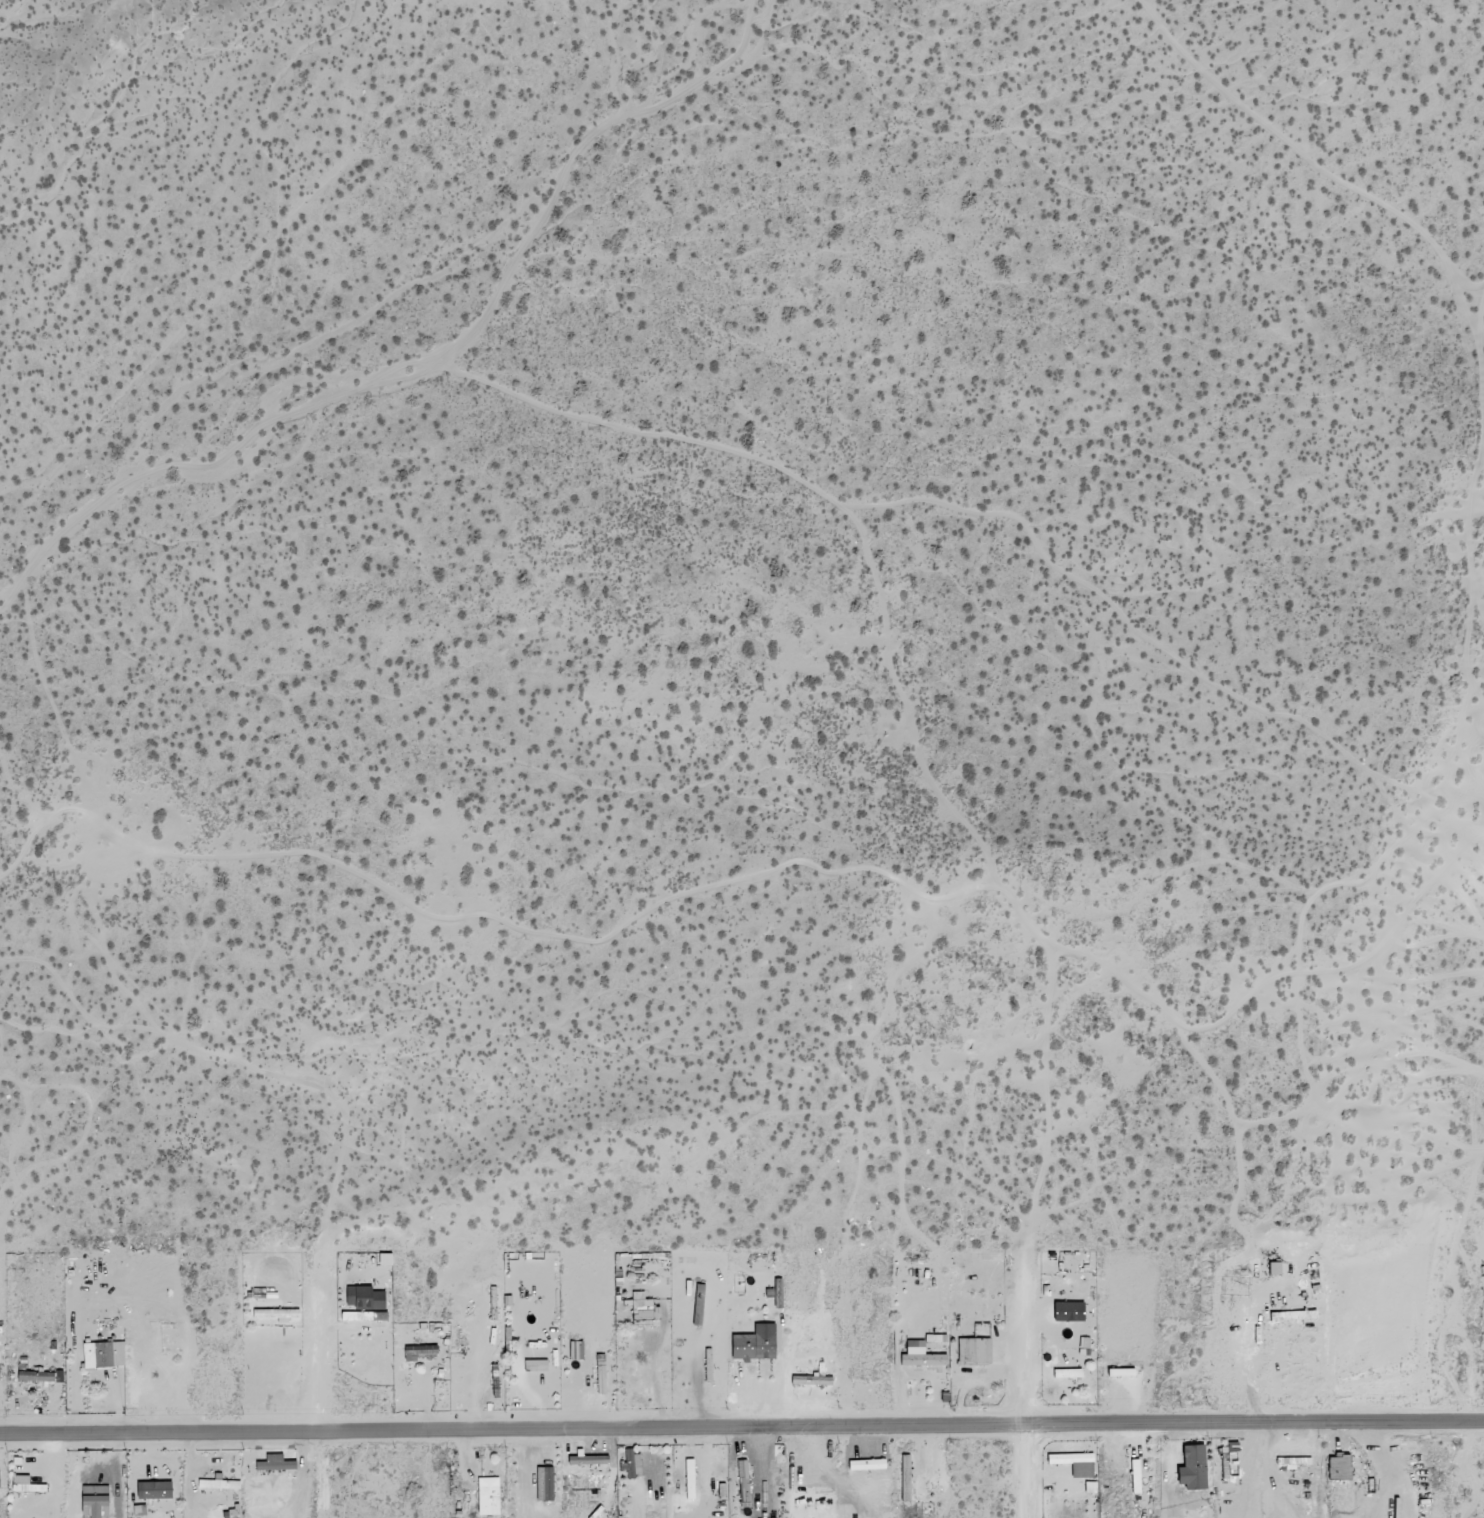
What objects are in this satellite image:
road: (219, 173)
building: (384, 1260)
building: (364, 1299)
building: (644, 1312)
building: (754, 1345)
building: (576, 1351)
road: (1025, 1351)
building: (974, 1352)
building: (420, 1353)
building: (103, 1355)
building: (920, 1356)
building: (1070, 1373)
building: (1120, 1373)
building: (36, 1376)
road: (323, 1396)
road: (512, 1428)
road: (1254, 1433)
road: (1000, 1436)
building: (1072, 1459)
building: (630, 1463)
building: (1192, 1468)
road: (1025, 1477)
building: (689, 1480)
building: (23, 1485)
building: (547, 1485)
building: (1091, 1488)
building: (137, 1495)
building: (488, 1497)
building: (94, 1501)

